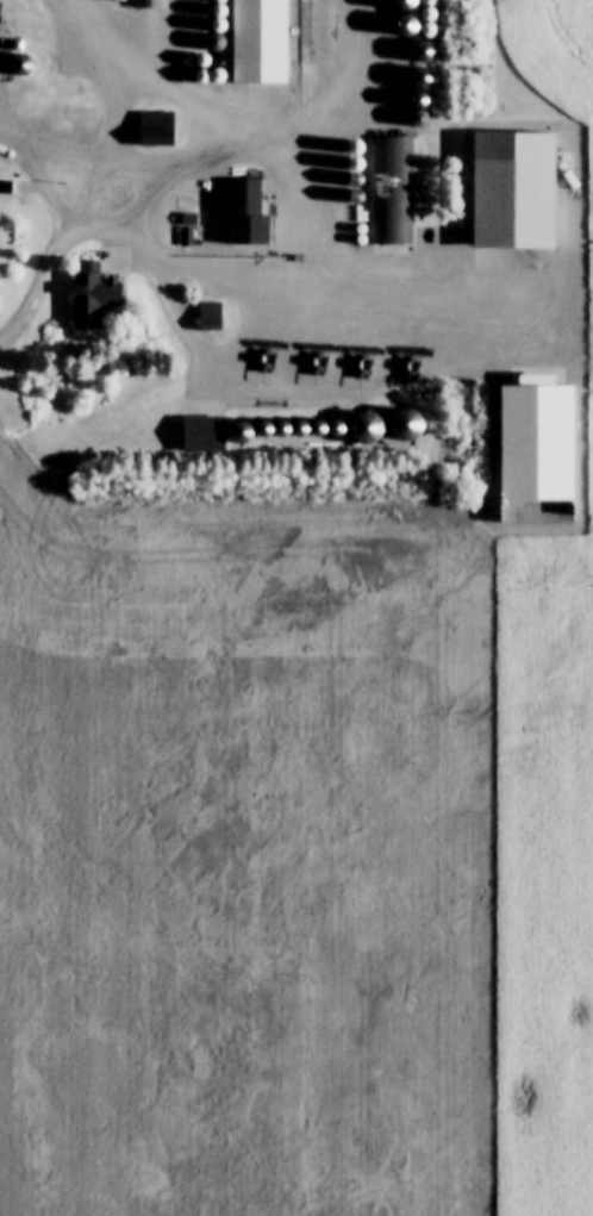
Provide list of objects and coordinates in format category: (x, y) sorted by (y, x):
building: (150, 4)
building: (260, 40)
building: (427, 50)
building: (156, 127)
building: (393, 189)
building: (239, 207)
road: (324, 229)
road: (36, 294)
building: (94, 294)
building: (211, 316)
building: (405, 423)
building: (204, 434)

